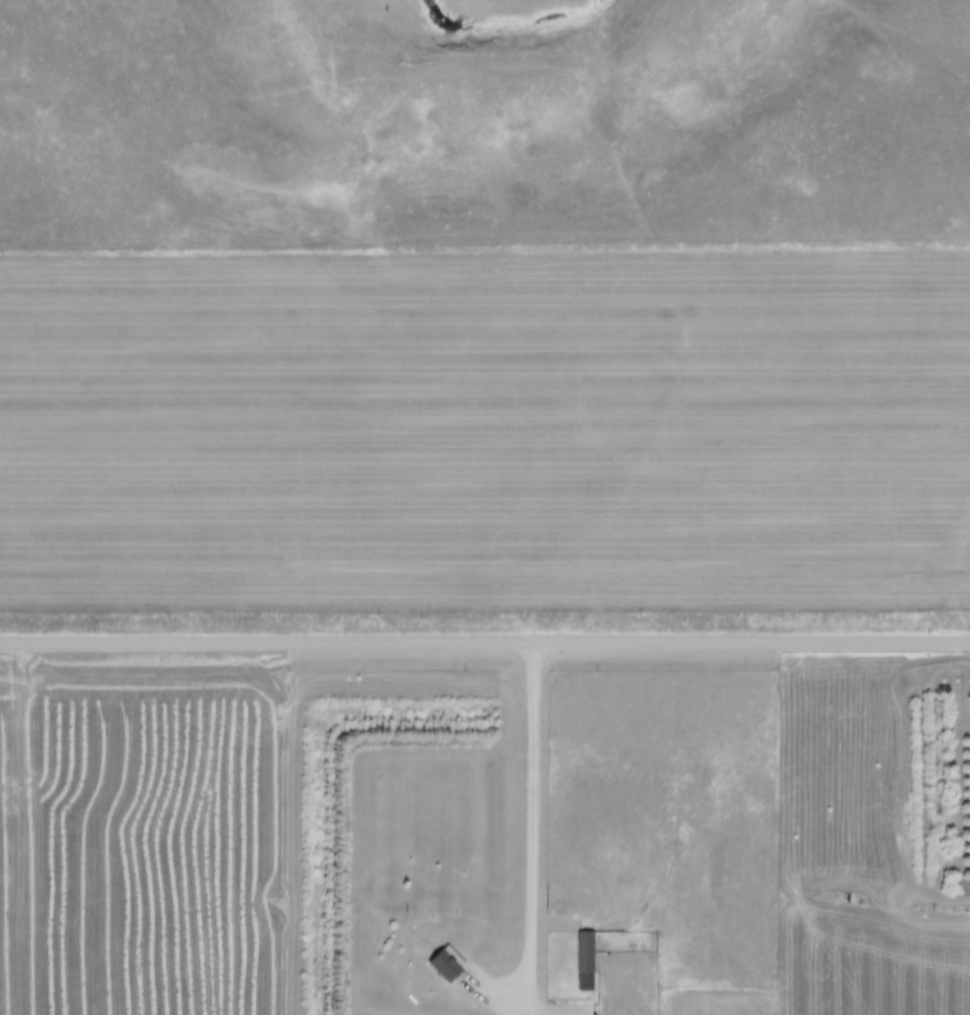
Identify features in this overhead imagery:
road: (484, 645)
road: (20, 781)
road: (533, 830)
building: (586, 952)

